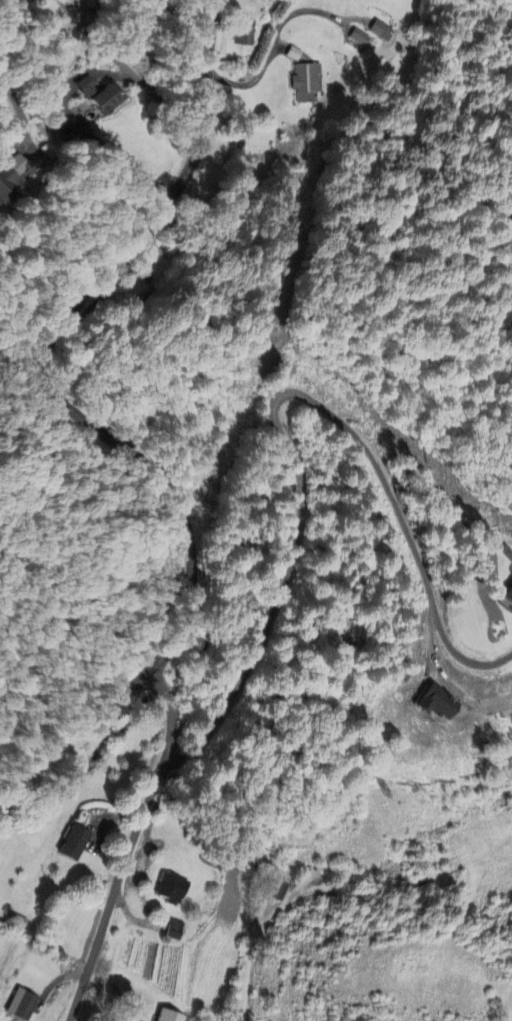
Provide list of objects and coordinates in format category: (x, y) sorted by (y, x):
building: (380, 30)
building: (243, 36)
road: (274, 45)
road: (126, 67)
building: (307, 83)
building: (101, 97)
building: (11, 172)
road: (272, 404)
road: (88, 422)
building: (509, 595)
building: (74, 843)
road: (130, 844)
building: (176, 931)
building: (21, 1006)
building: (169, 1016)

